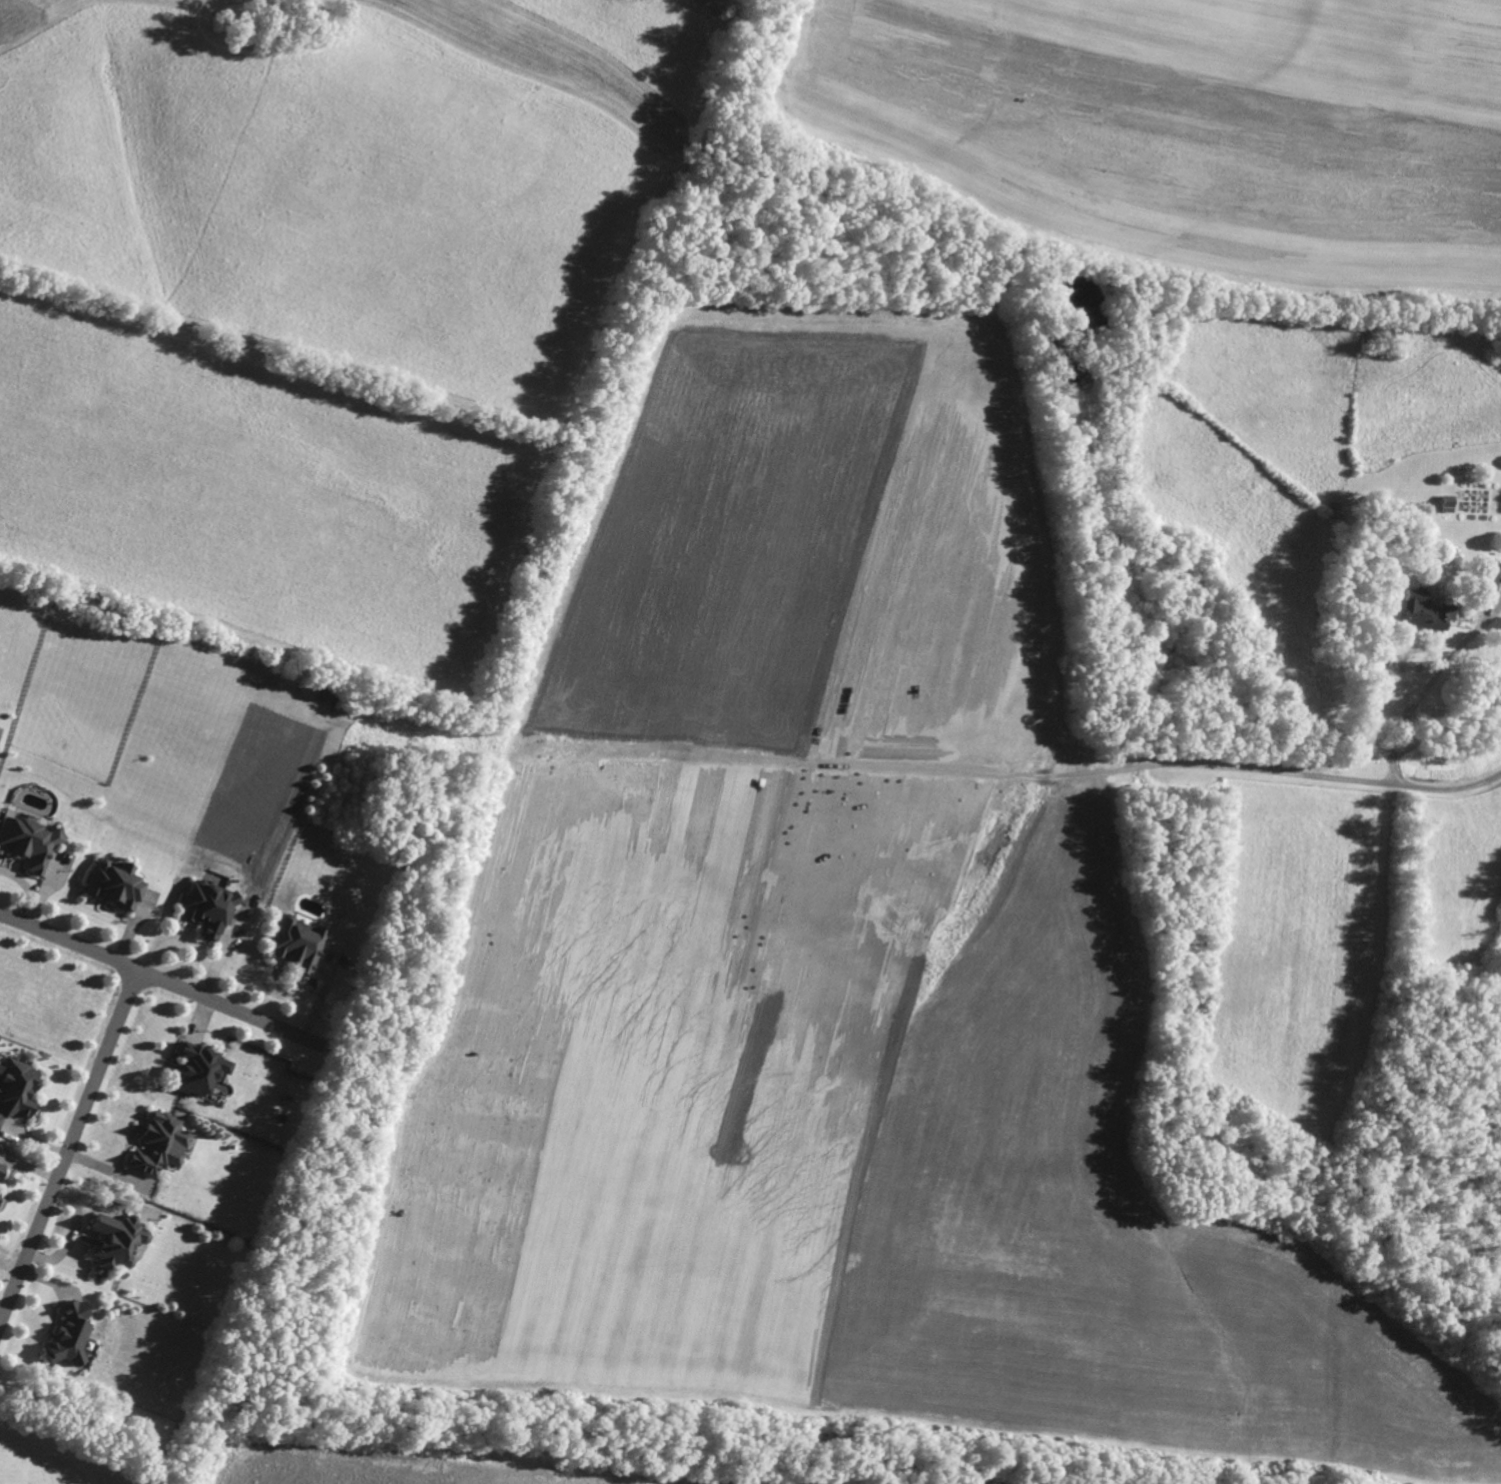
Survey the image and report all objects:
building: (1489, 577)
building: (1444, 609)
road: (1396, 742)
building: (27, 842)
building: (113, 884)
road: (29, 890)
building: (207, 908)
building: (296, 944)
road: (161, 978)
building: (197, 1069)
building: (16, 1088)
road: (69, 1144)
building: (158, 1145)
building: (1, 1168)
building: (115, 1240)
building: (70, 1334)

